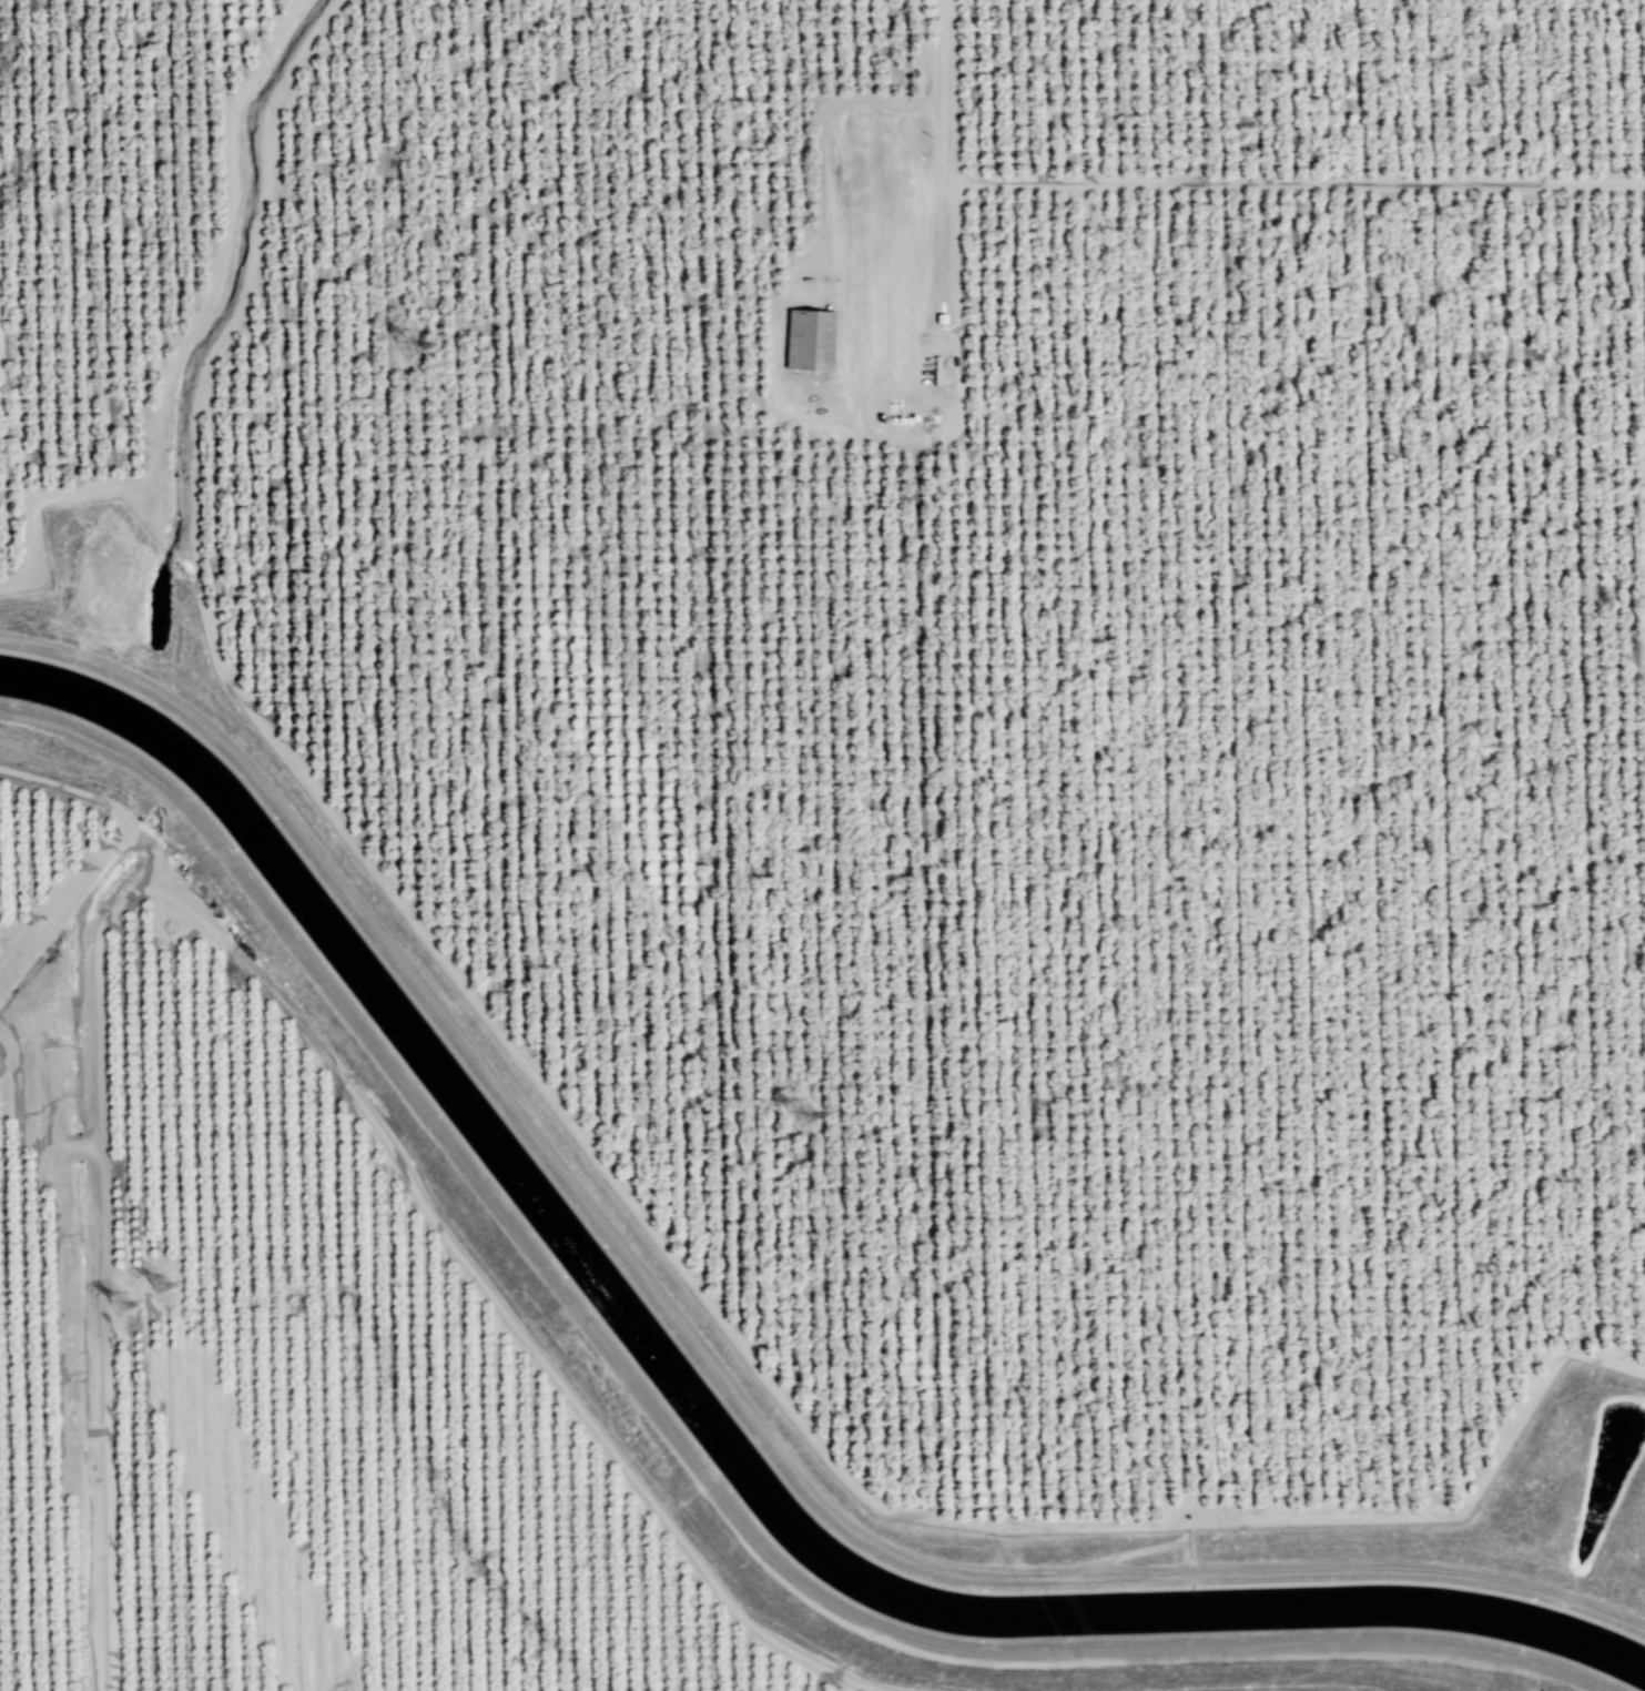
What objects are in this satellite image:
road: (944, 143)
road: (1294, 181)
road: (183, 337)
building: (814, 340)
power tower: (418, 356)
road: (51, 1017)
power tower: (811, 1125)
road: (591, 1151)
power tower: (160, 1287)
power tower: (119, 1307)
road: (106, 1338)
road: (1357, 1568)

